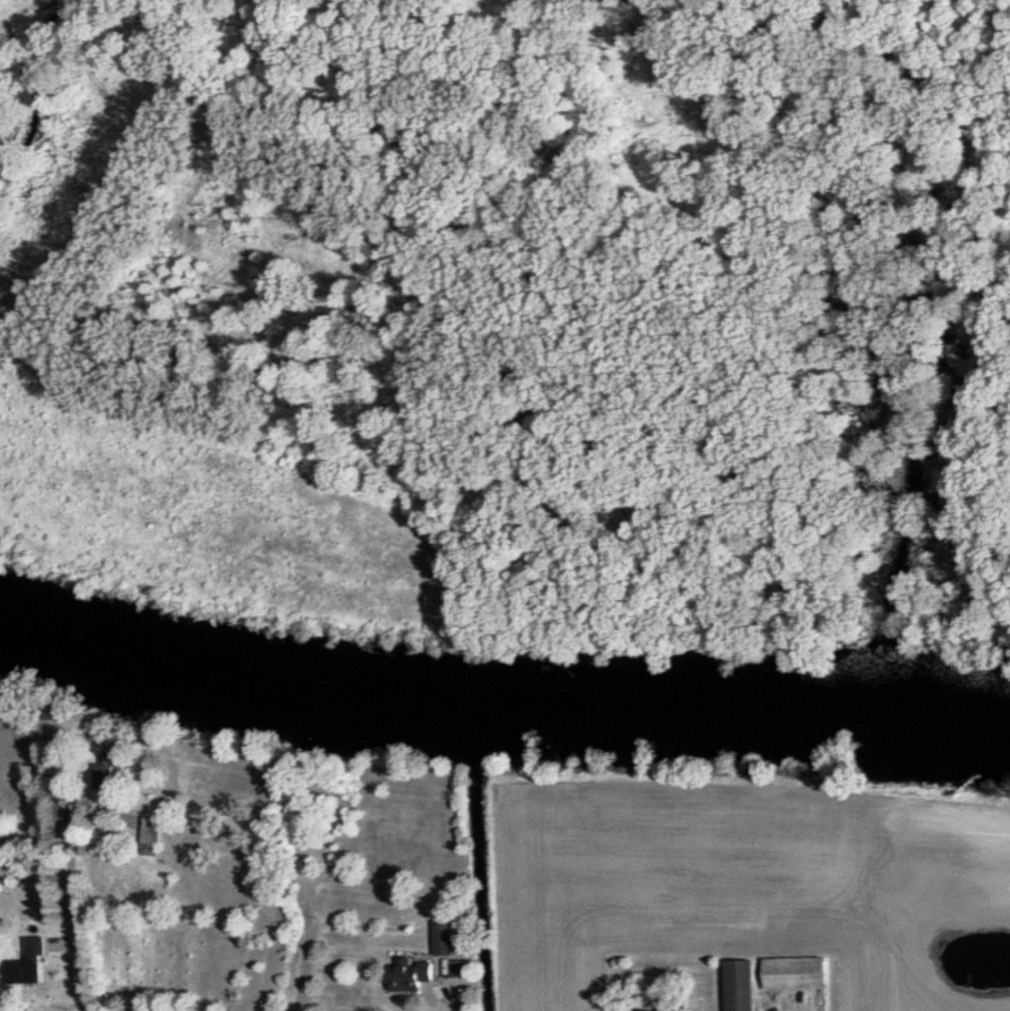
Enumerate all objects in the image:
river: (503, 693)
building: (115, 768)
building: (157, 832)
road: (74, 881)
building: (434, 959)
building: (35, 963)
building: (799, 973)
building: (742, 985)
building: (676, 1005)
building: (647, 1010)

